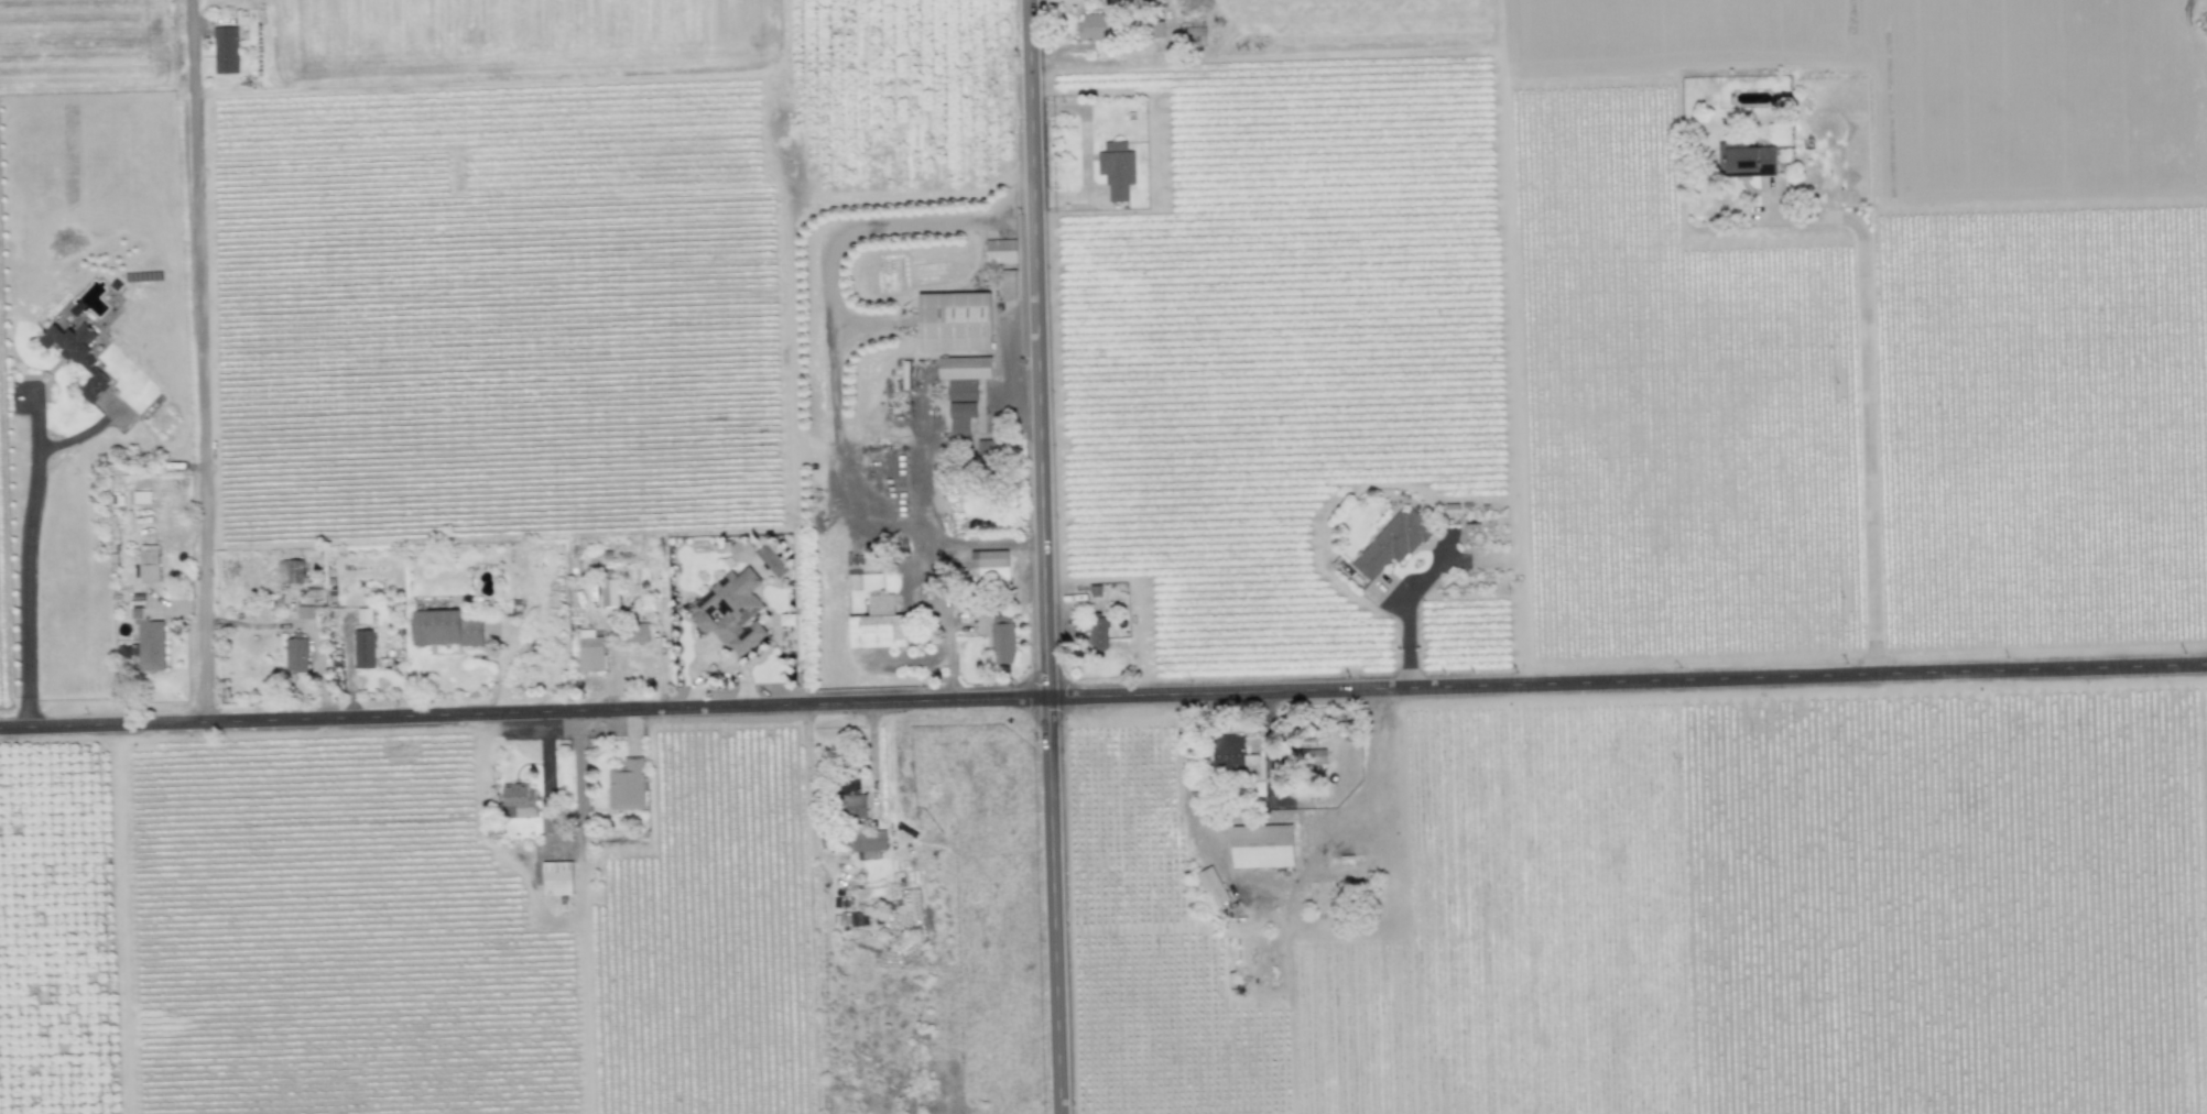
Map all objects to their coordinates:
building: (1097, 28)
building: (1155, 28)
building: (225, 48)
building: (1746, 157)
building: (1117, 168)
building: (1001, 250)
building: (955, 320)
building: (78, 354)
road: (200, 360)
building: (965, 374)
road: (1864, 402)
building: (961, 418)
building: (987, 449)
road: (980, 543)
building: (1392, 543)
road: (922, 551)
building: (757, 555)
road: (1040, 557)
road: (28, 560)
building: (149, 563)
building: (991, 563)
building: (609, 591)
road: (1400, 610)
building: (305, 611)
building: (731, 611)
building: (365, 614)
building: (786, 619)
building: (878, 623)
building: (444, 627)
building: (638, 631)
building: (1099, 632)
building: (998, 638)
building: (150, 643)
building: (363, 648)
building: (590, 651)
building: (296, 654)
road: (1102, 693)
building: (1229, 751)
building: (627, 784)
building: (519, 796)
road: (579, 798)
building: (854, 806)
road: (1278, 818)
building: (548, 821)
building: (870, 842)
building: (1263, 845)
building: (556, 877)
building: (1211, 886)

